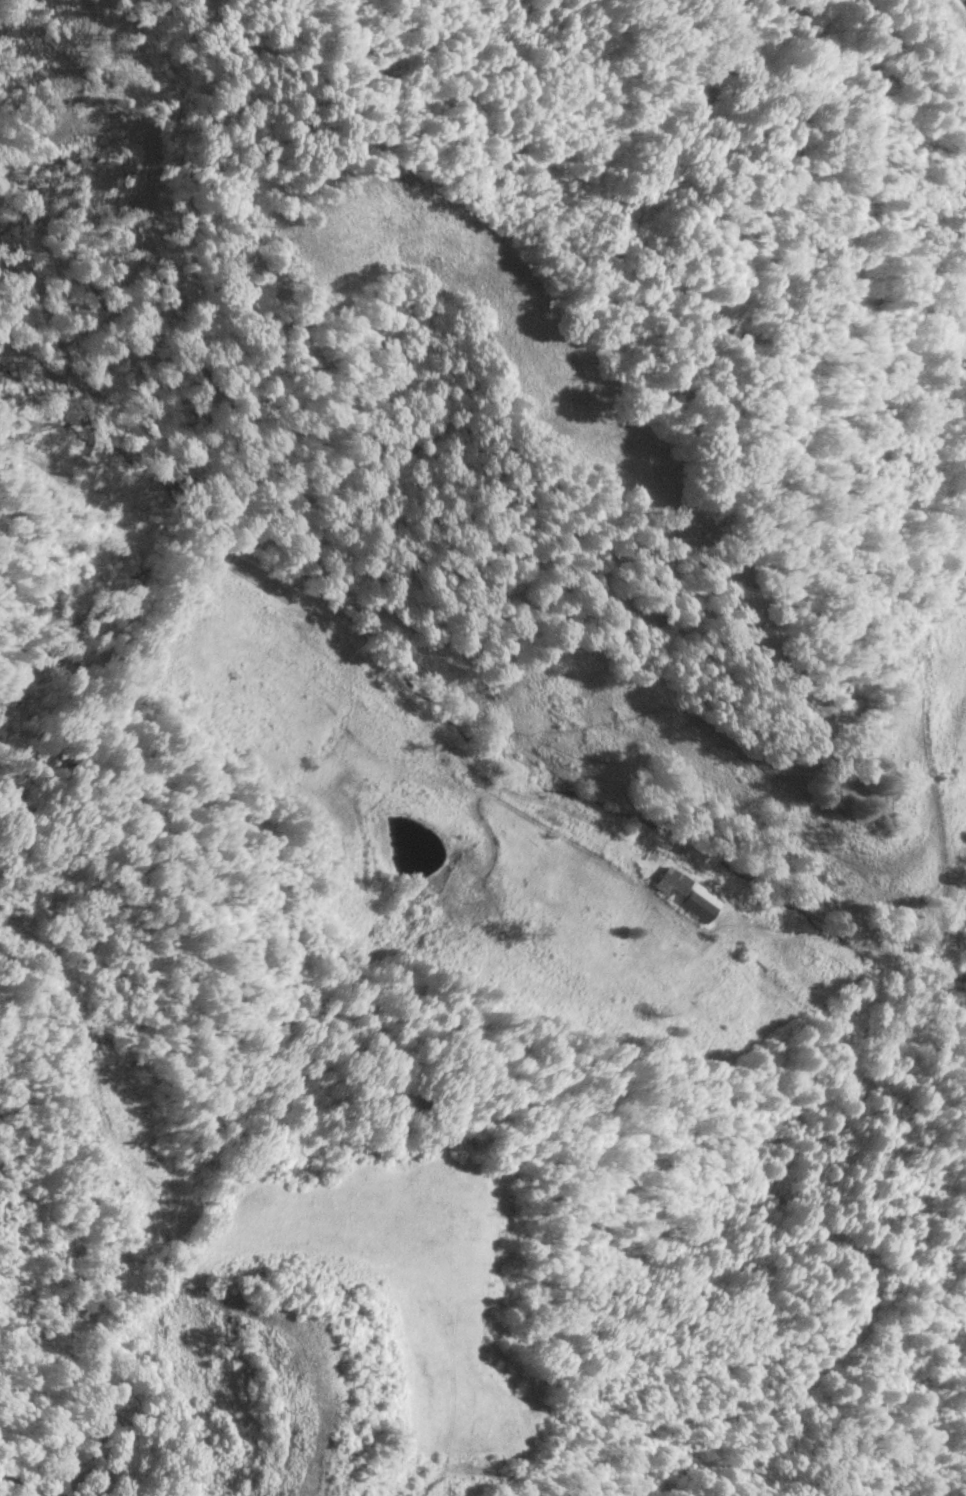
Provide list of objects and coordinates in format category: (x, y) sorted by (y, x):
road: (688, 473)
building: (687, 895)
building: (852, 1027)

